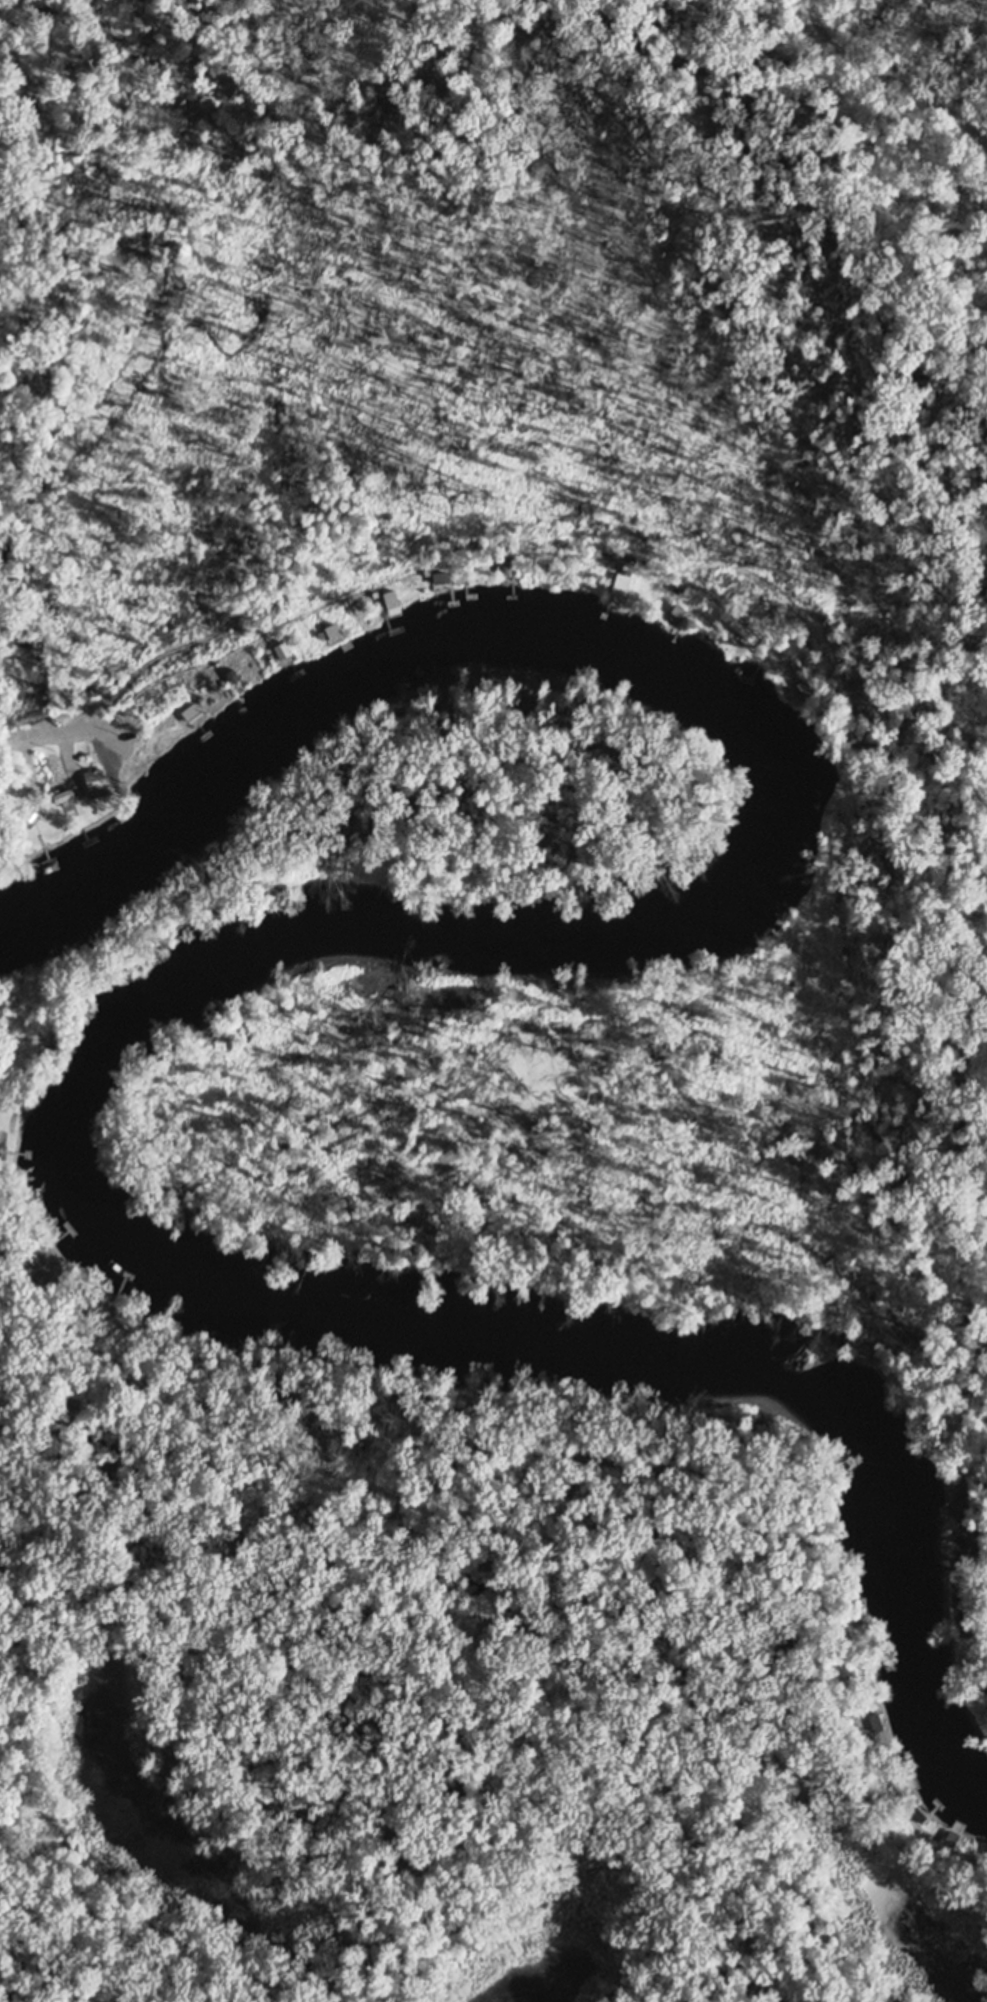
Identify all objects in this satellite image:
building: (132, 281)
building: (507, 567)
building: (441, 575)
road: (396, 576)
building: (621, 581)
building: (391, 594)
building: (676, 609)
building: (332, 627)
building: (737, 636)
building: (282, 646)
building: (234, 676)
building: (805, 684)
building: (194, 713)
building: (97, 785)
building: (63, 792)
river: (235, 958)
road: (10, 1096)
building: (36, 1255)
building: (99, 1305)
building: (866, 1347)
road: (529, 1507)
building: (853, 1611)
building: (875, 1720)
building: (886, 1758)
building: (902, 1784)
building: (918, 1813)
building: (951, 1837)
building: (986, 1851)

